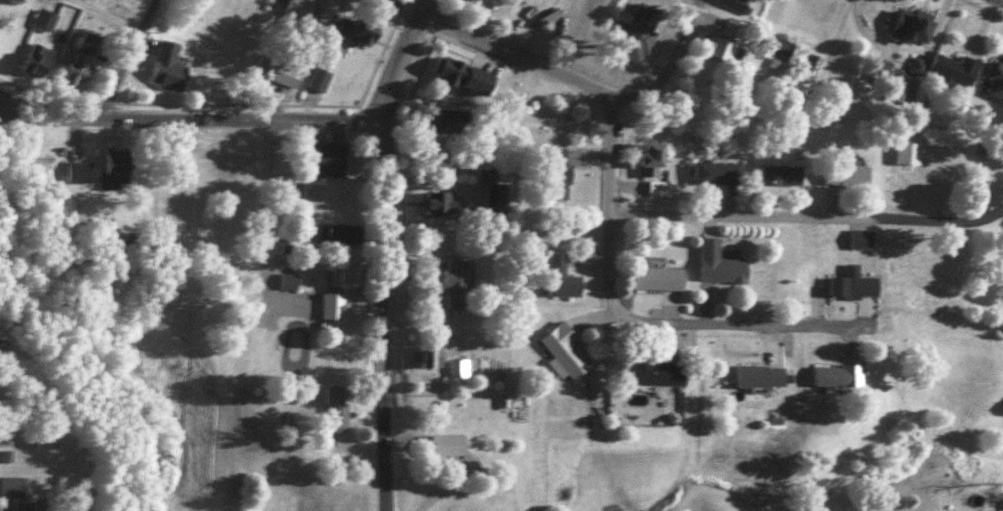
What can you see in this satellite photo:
building: (305, 12)
road: (108, 16)
building: (45, 19)
building: (913, 25)
building: (358, 31)
building: (641, 32)
road: (502, 47)
building: (719, 48)
building: (41, 57)
road: (406, 57)
road: (133, 59)
building: (918, 62)
building: (811, 63)
building: (167, 65)
road: (673, 65)
building: (280, 68)
building: (953, 69)
building: (76, 71)
building: (464, 75)
building: (320, 78)
building: (995, 80)
building: (901, 89)
road: (0, 115)
road: (193, 119)
building: (446, 120)
building: (907, 152)
building: (652, 157)
building: (330, 158)
building: (117, 165)
building: (79, 170)
building: (557, 173)
building: (718, 173)
building: (781, 176)
building: (847, 176)
building: (494, 191)
building: (299, 197)
building: (442, 203)
road: (805, 214)
building: (340, 234)
road: (608, 241)
building: (721, 265)
building: (348, 275)
building: (562, 278)
building: (659, 278)
building: (295, 279)
building: (456, 283)
building: (854, 286)
building: (333, 305)
road: (384, 312)
road: (769, 324)
building: (566, 351)
building: (434, 355)
building: (459, 368)
building: (654, 373)
building: (761, 375)
building: (838, 376)
building: (337, 409)
building: (449, 445)
building: (13, 487)
building: (28, 507)

